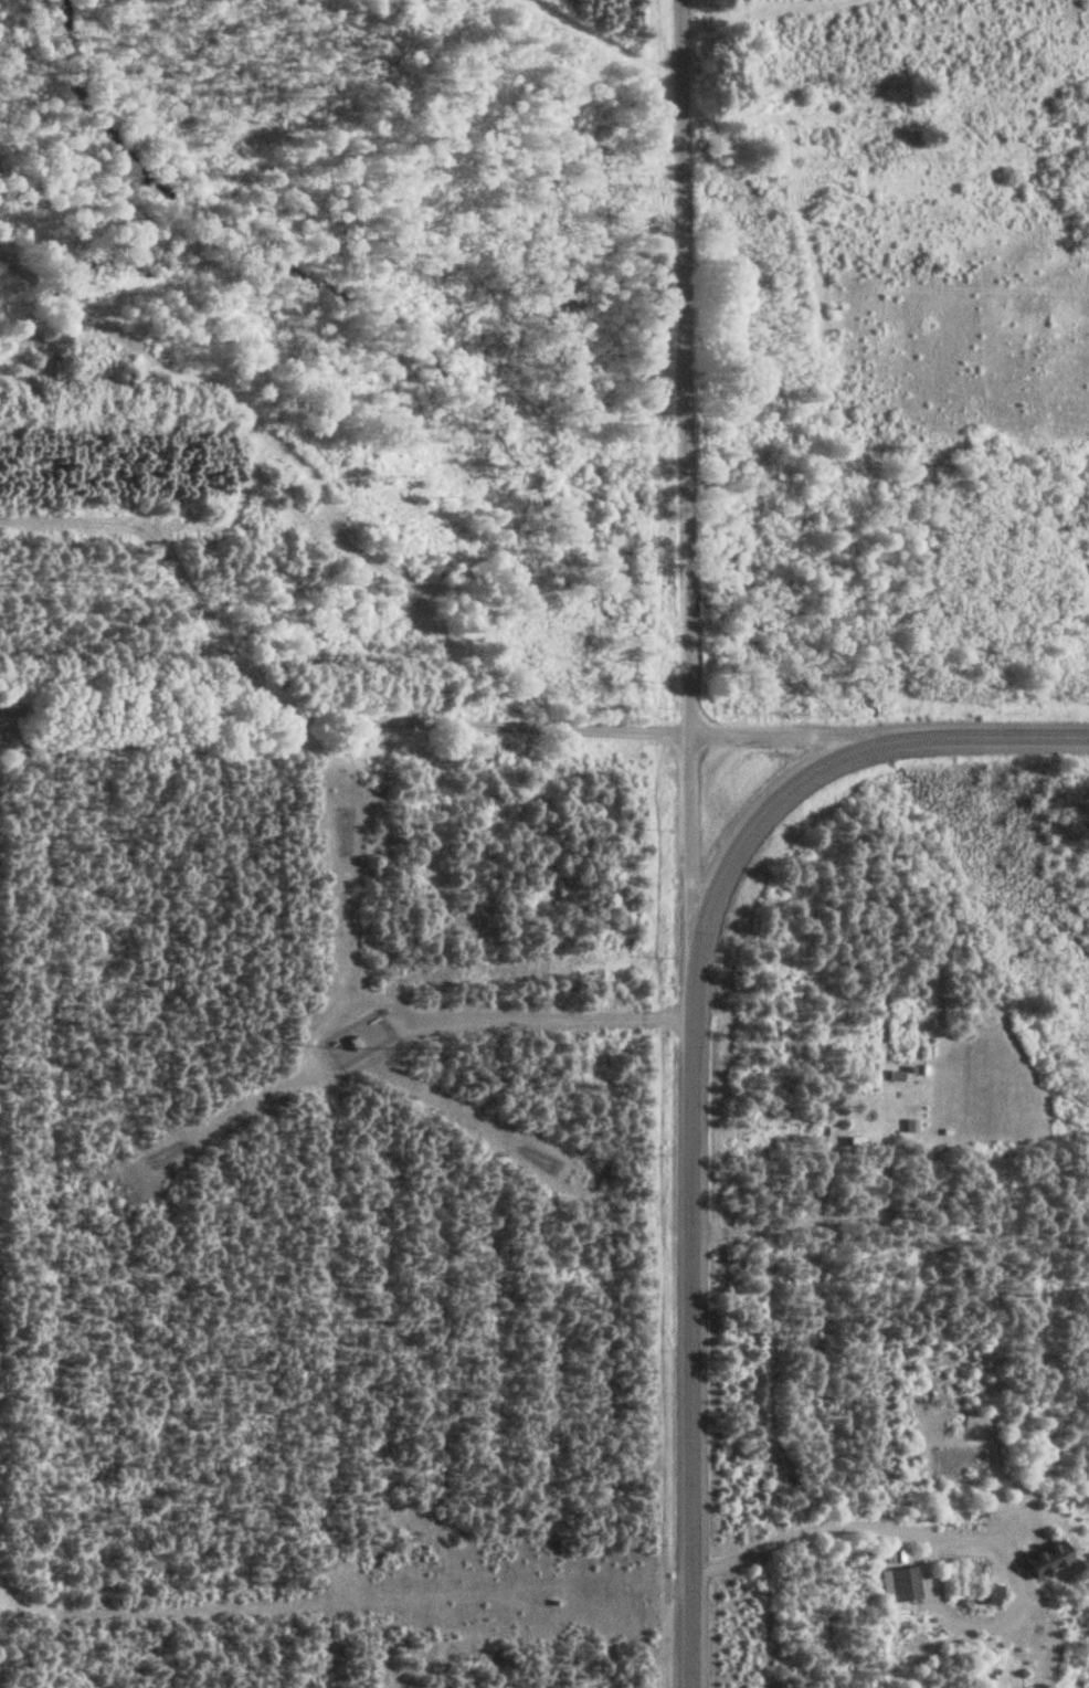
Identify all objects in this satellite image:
river: (350, 300)
road: (687, 483)
river: (687, 581)
river: (791, 646)
road: (346, 718)
river: (891, 738)
road: (984, 738)
road: (786, 739)
road: (750, 824)
river: (996, 861)
road: (692, 1327)
building: (1045, 1559)
building: (905, 1583)

